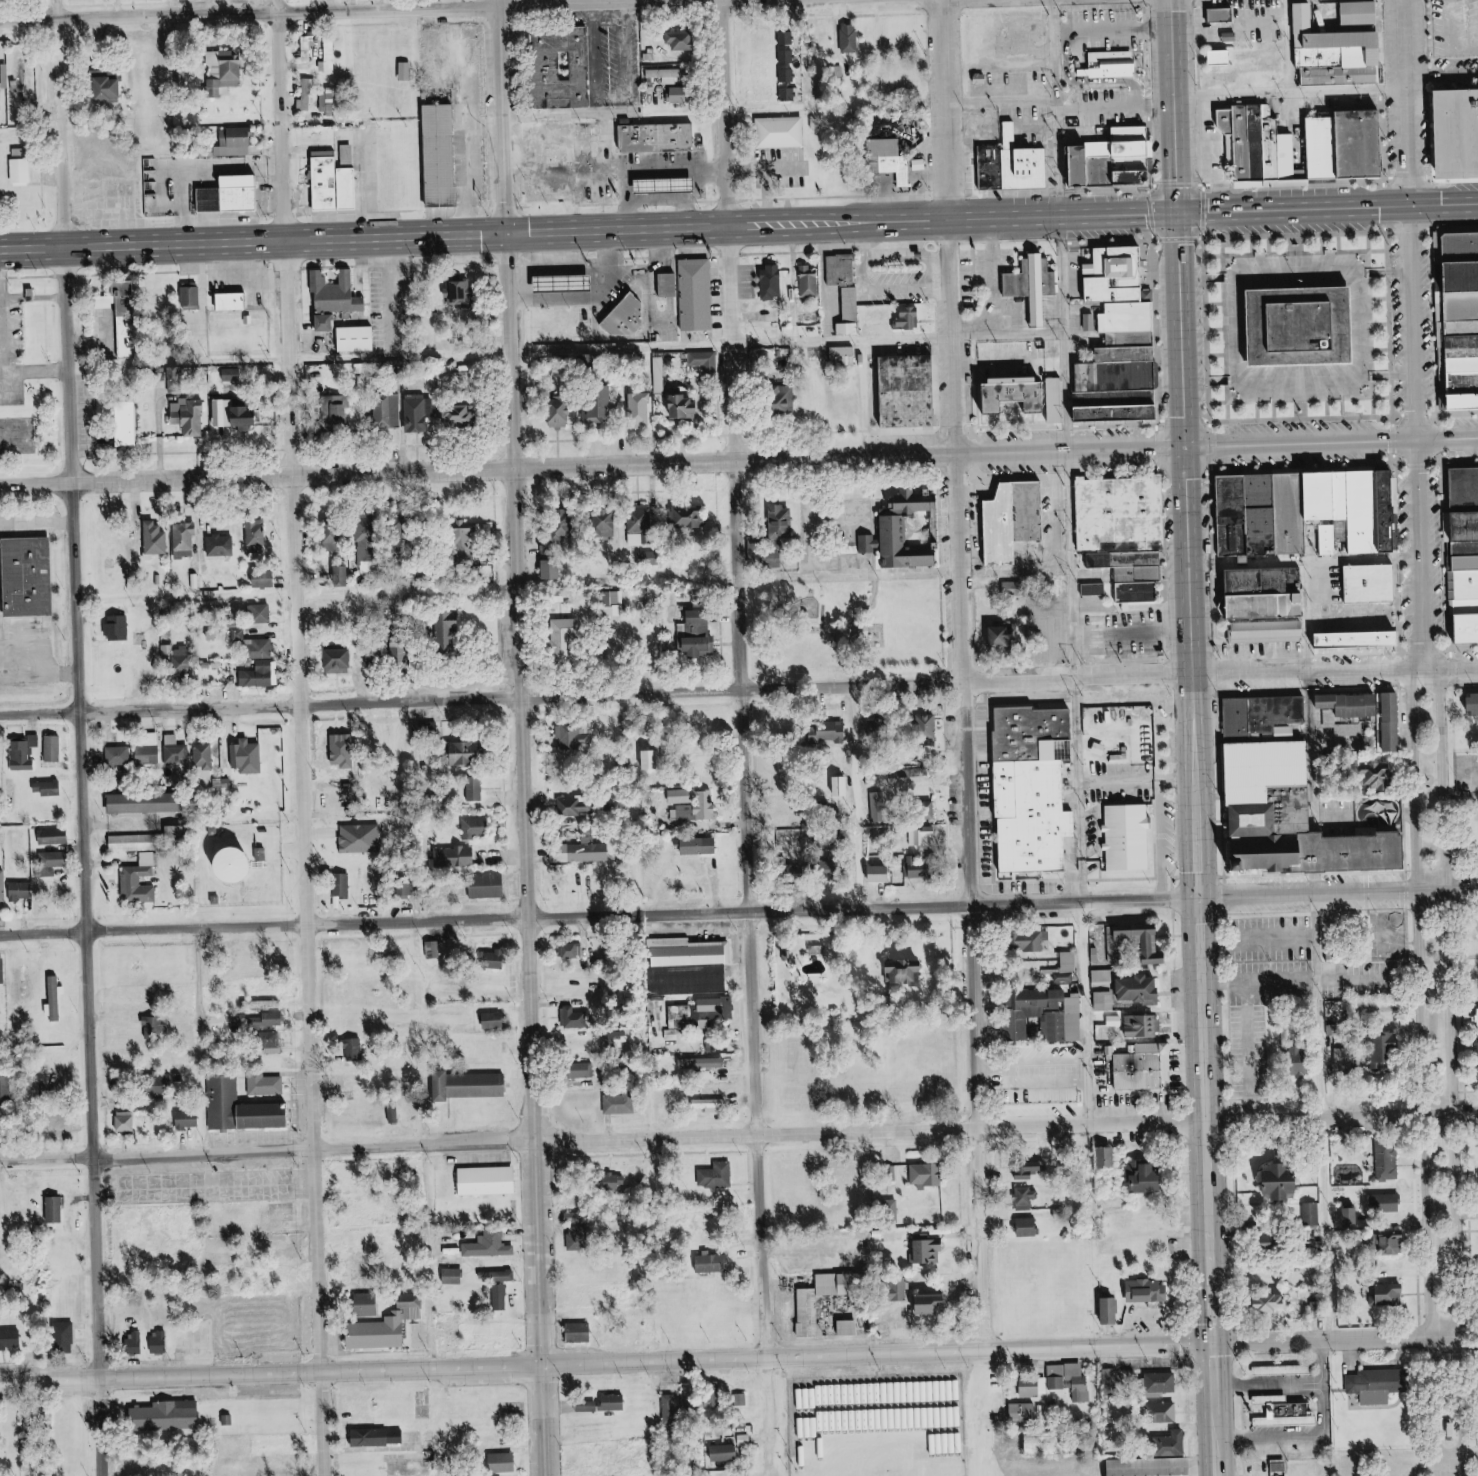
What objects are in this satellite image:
road: (625, 3)
road: (1477, 5)
road: (107, 8)
building: (1362, 13)
road: (244, 14)
building: (1218, 15)
road: (1260, 22)
road: (1106, 31)
building: (786, 38)
building: (850, 38)
building: (681, 41)
road: (1443, 43)
building: (309, 47)
building: (1340, 53)
building: (329, 57)
building: (787, 57)
road: (1261, 57)
building: (1212, 58)
building: (552, 66)
building: (13, 67)
building: (228, 67)
building: (1102, 67)
building: (407, 71)
building: (672, 73)
building: (789, 75)
building: (182, 76)
road: (1437, 76)
road: (1081, 84)
building: (110, 86)
road: (1293, 93)
building: (790, 94)
building: (681, 95)
road: (1227, 95)
building: (307, 96)
building: (327, 103)
road: (1170, 104)
road: (1050, 106)
parking lot: (1097, 108)
road: (1110, 108)
building: (1454, 130)
building: (775, 132)
building: (653, 136)
building: (237, 142)
building: (1354, 143)
building: (1316, 146)
building: (1271, 149)
building: (348, 156)
building: (437, 156)
building: (1110, 158)
building: (882, 159)
road: (460, 161)
building: (981, 166)
building: (1017, 170)
building: (22, 172)
building: (336, 184)
road: (1309, 184)
gas station: (666, 186)
building: (668, 186)
building: (233, 196)
traffic signals: (1402, 203)
traffic signals: (1173, 210)
road: (738, 223)
road: (1428, 229)
traffic signals: (498, 232)
building: (841, 270)
road: (1384, 271)
building: (1109, 274)
building: (772, 281)
building: (811, 281)
building: (565, 283)
building: (663, 285)
building: (1024, 285)
building: (459, 291)
road: (388, 295)
building: (692, 295)
building: (192, 296)
building: (327, 298)
building: (105, 301)
building: (233, 301)
building: (851, 312)
building: (1122, 316)
building: (1457, 317)
building: (618, 318)
building: (909, 318)
building: (128, 319)
building: (1091, 322)
building: (1294, 327)
road: (1408, 333)
road: (1057, 334)
road: (1000, 335)
building: (351, 339)
road: (834, 341)
road: (615, 349)
road: (391, 353)
building: (842, 357)
building: (706, 360)
road: (30, 371)
building: (315, 373)
building: (233, 374)
building: (660, 375)
road: (1388, 376)
building: (905, 390)
building: (788, 398)
building: (1003, 398)
road: (858, 400)
building: (1048, 401)
building: (686, 403)
building: (640, 408)
building: (342, 410)
building: (389, 411)
building: (237, 413)
building: (419, 413)
building: (563, 413)
building: (462, 414)
building: (192, 416)
road: (1383, 417)
building: (128, 424)
traffic signals: (1182, 451)
road: (991, 455)
road: (1465, 462)
road: (1420, 463)
road: (1295, 467)
road: (1180, 473)
road: (252, 478)
road: (1045, 478)
road: (803, 486)
building: (1469, 486)
building: (1315, 496)
road: (872, 500)
building: (1357, 511)
building: (1253, 515)
building: (692, 516)
building: (608, 521)
building: (786, 521)
building: (1469, 521)
building: (1012, 522)
building: (642, 528)
building: (893, 533)
building: (1118, 534)
road: (866, 538)
building: (156, 539)
building: (555, 539)
building: (1317, 539)
building: (1330, 539)
building: (185, 540)
building: (257, 540)
building: (336, 541)
building: (368, 543)
building: (467, 544)
building: (221, 545)
building: (1470, 545)
road: (1206, 559)
building: (1470, 561)
road: (1456, 564)
road: (1158, 566)
road: (1392, 566)
building: (554, 568)
road: (936, 569)
building: (341, 574)
road: (844, 576)
building: (22, 578)
building: (267, 578)
building: (1367, 583)
building: (1096, 589)
building: (1471, 589)
building: (1258, 593)
building: (654, 596)
building: (614, 603)
road: (857, 608)
building: (261, 613)
building: (119, 628)
building: (1471, 628)
building: (454, 632)
building: (1257, 634)
building: (702, 637)
building: (999, 638)
building: (566, 639)
building: (1353, 640)
building: (254, 646)
building: (402, 652)
building: (342, 659)
road: (1113, 661)
road: (1453, 665)
building: (260, 675)
road: (714, 694)
building: (1476, 703)
building: (1357, 705)
road: (1464, 706)
building: (1284, 710)
building: (1246, 716)
building: (1398, 720)
building: (932, 723)
building: (832, 732)
road: (738, 734)
building: (572, 736)
road: (74, 738)
road: (293, 738)
road: (511, 738)
road: (960, 738)
road: (1321, 745)
building: (54, 749)
building: (344, 750)
building: (176, 751)
building: (470, 752)
building: (24, 753)
building: (149, 753)
building: (120, 755)
building: (204, 756)
building: (249, 756)
building: (653, 759)
building: (1273, 763)
building: (895, 773)
building: (1386, 773)
building: (1369, 778)
building: (844, 786)
building: (475, 787)
building: (1027, 787)
building: (49, 788)
building: (1370, 789)
road: (848, 799)
building: (146, 803)
building: (695, 803)
building: (578, 807)
building: (879, 807)
road: (1342, 815)
building: (476, 828)
building: (55, 837)
building: (1120, 837)
building: (362, 838)
building: (136, 842)
road: (1194, 842)
building: (1317, 845)
building: (701, 846)
building: (581, 852)
building: (458, 857)
road: (1324, 859)
building: (51, 862)
building: (927, 863)
building: (242, 864)
water tower: (224, 865)
building: (882, 874)
road: (1237, 876)
building: (141, 879)
building: (410, 883)
road: (1418, 884)
building: (347, 885)
building: (489, 885)
building: (3, 886)
building: (22, 891)
road: (1377, 892)
road: (1234, 895)
traffic signals: (1198, 900)
road: (1000, 906)
road: (261, 928)
road: (1326, 938)
building: (1033, 940)
building: (1145, 940)
road: (1263, 943)
building: (1332, 944)
building: (572, 950)
building: (1067, 965)
building: (688, 967)
building: (2, 972)
building: (910, 973)
road: (1263, 981)
building: (55, 985)
building: (1132, 985)
parking lot: (1273, 985)
road: (1461, 996)
road: (1428, 1000)
building: (711, 1005)
road: (1237, 1012)
road: (1079, 1014)
building: (1048, 1016)
road: (1167, 1017)
building: (575, 1018)
building: (681, 1019)
building: (270, 1020)
building: (496, 1020)
building: (1145, 1026)
building: (154, 1029)
building: (356, 1049)
building: (1393, 1049)
road: (1261, 1050)
building: (1346, 1058)
building: (703, 1063)
park: (1447, 1066)
building: (585, 1070)
building: (1130, 1072)
building: (256, 1084)
building: (473, 1086)
building: (161, 1088)
building: (214, 1102)
building: (711, 1103)
building: (621, 1105)
building: (395, 1114)
building: (257, 1115)
building: (190, 1120)
building: (128, 1122)
road: (1168, 1125)
road: (1241, 1125)
building: (57, 1126)
parking lot: (260, 1131)
road: (738, 1135)
building: (1111, 1158)
building: (1389, 1161)
building: (1033, 1170)
road: (1424, 1173)
building: (930, 1175)
building: (718, 1176)
building: (1149, 1177)
building: (484, 1181)
parking lot: (199, 1182)
building: (616, 1182)
building: (1288, 1182)
building: (1026, 1198)
building: (1389, 1203)
building: (56, 1209)
building: (1312, 1214)
building: (579, 1217)
building: (1352, 1217)
building: (1029, 1227)
road: (1176, 1231)
road: (1240, 1233)
building: (580, 1238)
building: (1278, 1242)
building: (1396, 1243)
building: (491, 1246)
building: (930, 1250)
road: (419, 1258)
building: (715, 1264)
building: (364, 1273)
building: (456, 1276)
building: (500, 1277)
building: (843, 1284)
building: (902, 1289)
building: (1148, 1291)
building: (1388, 1295)
building: (503, 1297)
building: (369, 1304)
building: (938, 1304)
building: (1273, 1305)
building: (415, 1307)
building: (1114, 1311)
building: (811, 1314)
parking lot: (312, 1326)
building: (851, 1328)
building: (582, 1332)
building: (452, 1334)
road: (1240, 1334)
building: (367, 1336)
building: (66, 1337)
building: (11, 1340)
building: (161, 1342)
traffic signals: (1213, 1342)
building: (136, 1343)
road: (1183, 1344)
road: (738, 1357)
building: (1291, 1368)
building: (1071, 1380)
building: (1161, 1382)
building: (1111, 1383)
road: (1273, 1385)
building: (1381, 1385)
building: (1035, 1387)
road: (1311, 1394)
building: (743, 1400)
road: (1442, 1402)
road: (1475, 1402)
building: (615, 1403)
building: (589, 1407)
road: (1185, 1408)
road: (1241, 1408)
building: (674, 1409)
building: (1164, 1412)
building: (1287, 1412)
building: (1024, 1413)
building: (169, 1417)
building: (30, 1423)
road: (1322, 1436)
building: (380, 1437)
building: (1049, 1443)
building: (1174, 1445)
building: (726, 1453)
building: (505, 1462)
building: (1281, 1466)
building: (1152, 1467)
road: (764, 1472)

